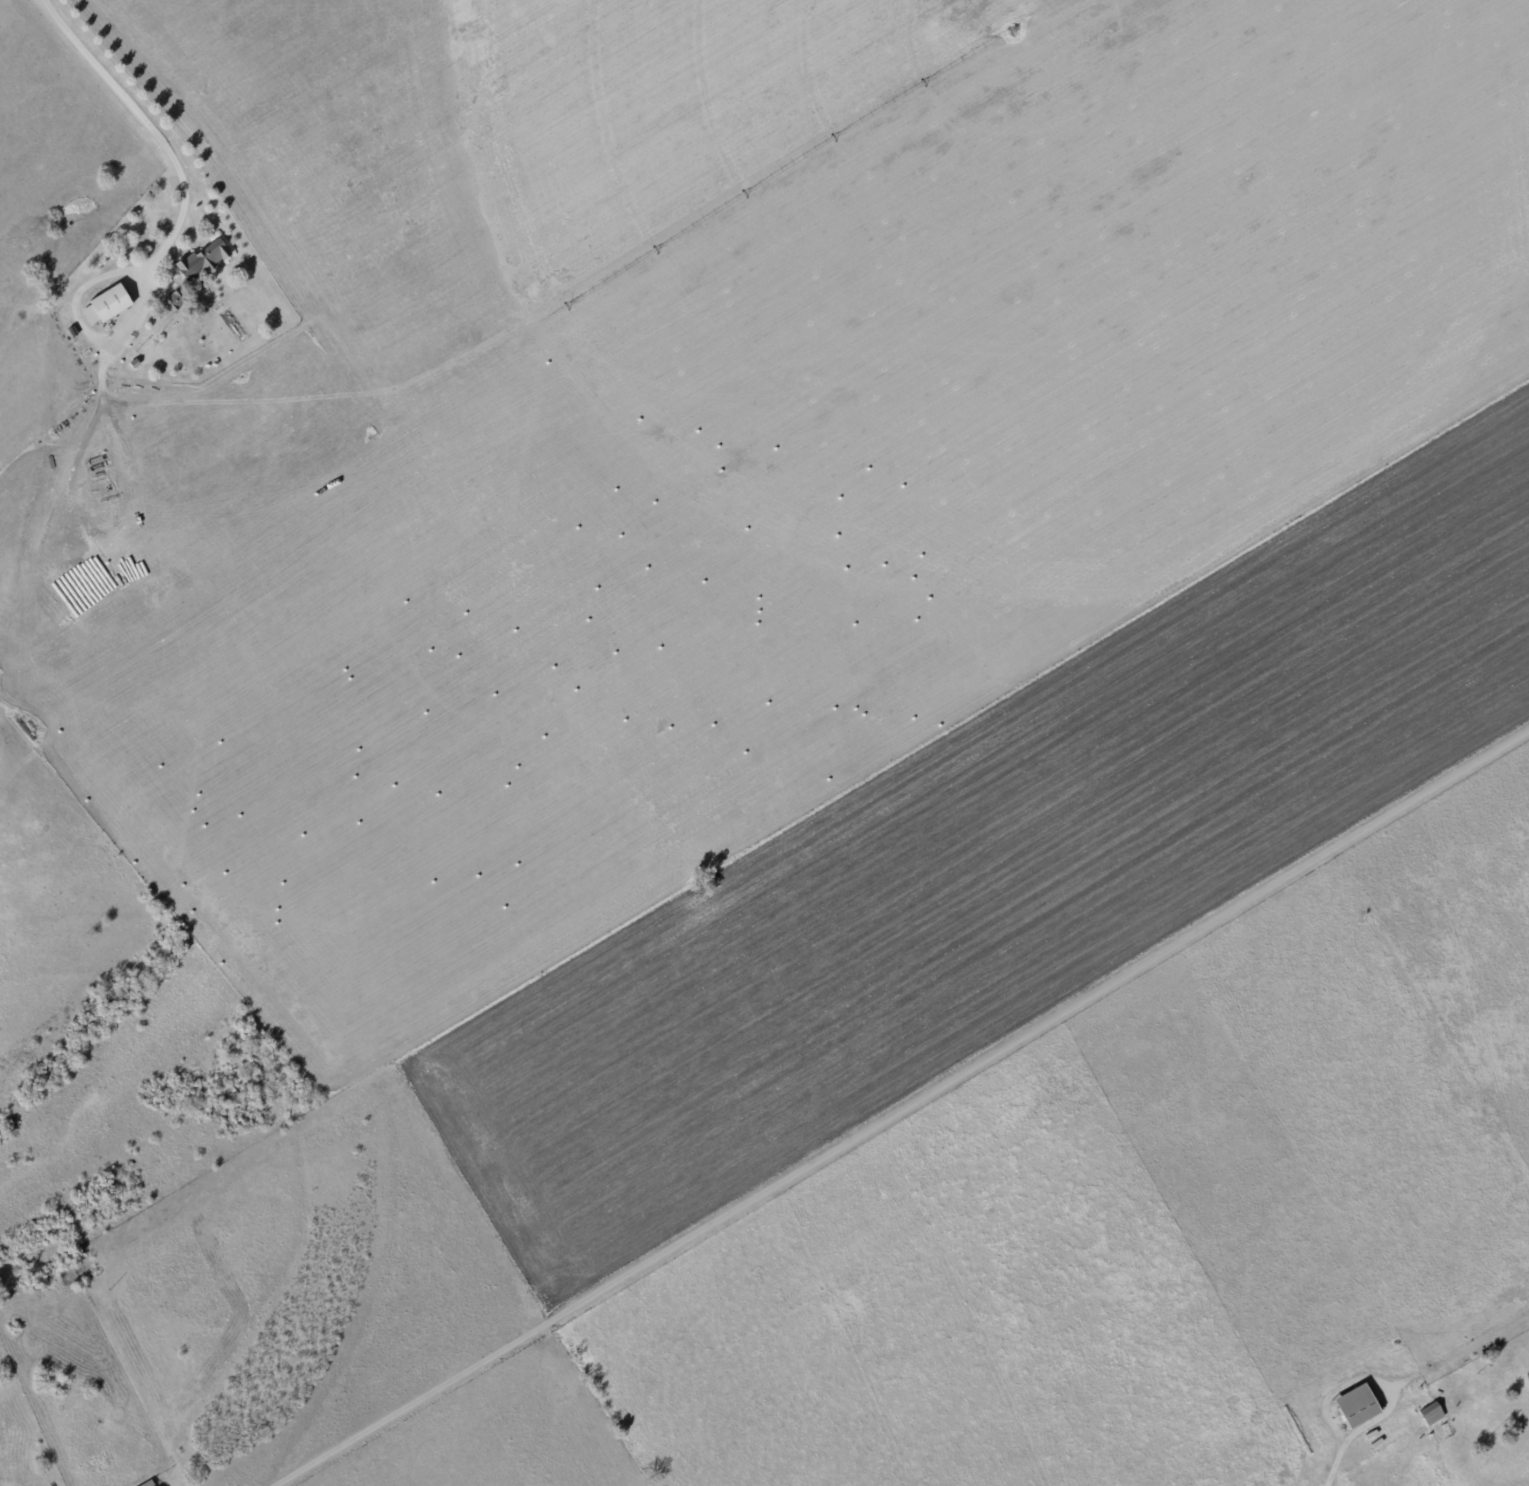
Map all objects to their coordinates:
road: (146, 128)
building: (110, 306)
road: (81, 328)
road: (905, 1109)
building: (1351, 1406)
building: (1428, 1414)

